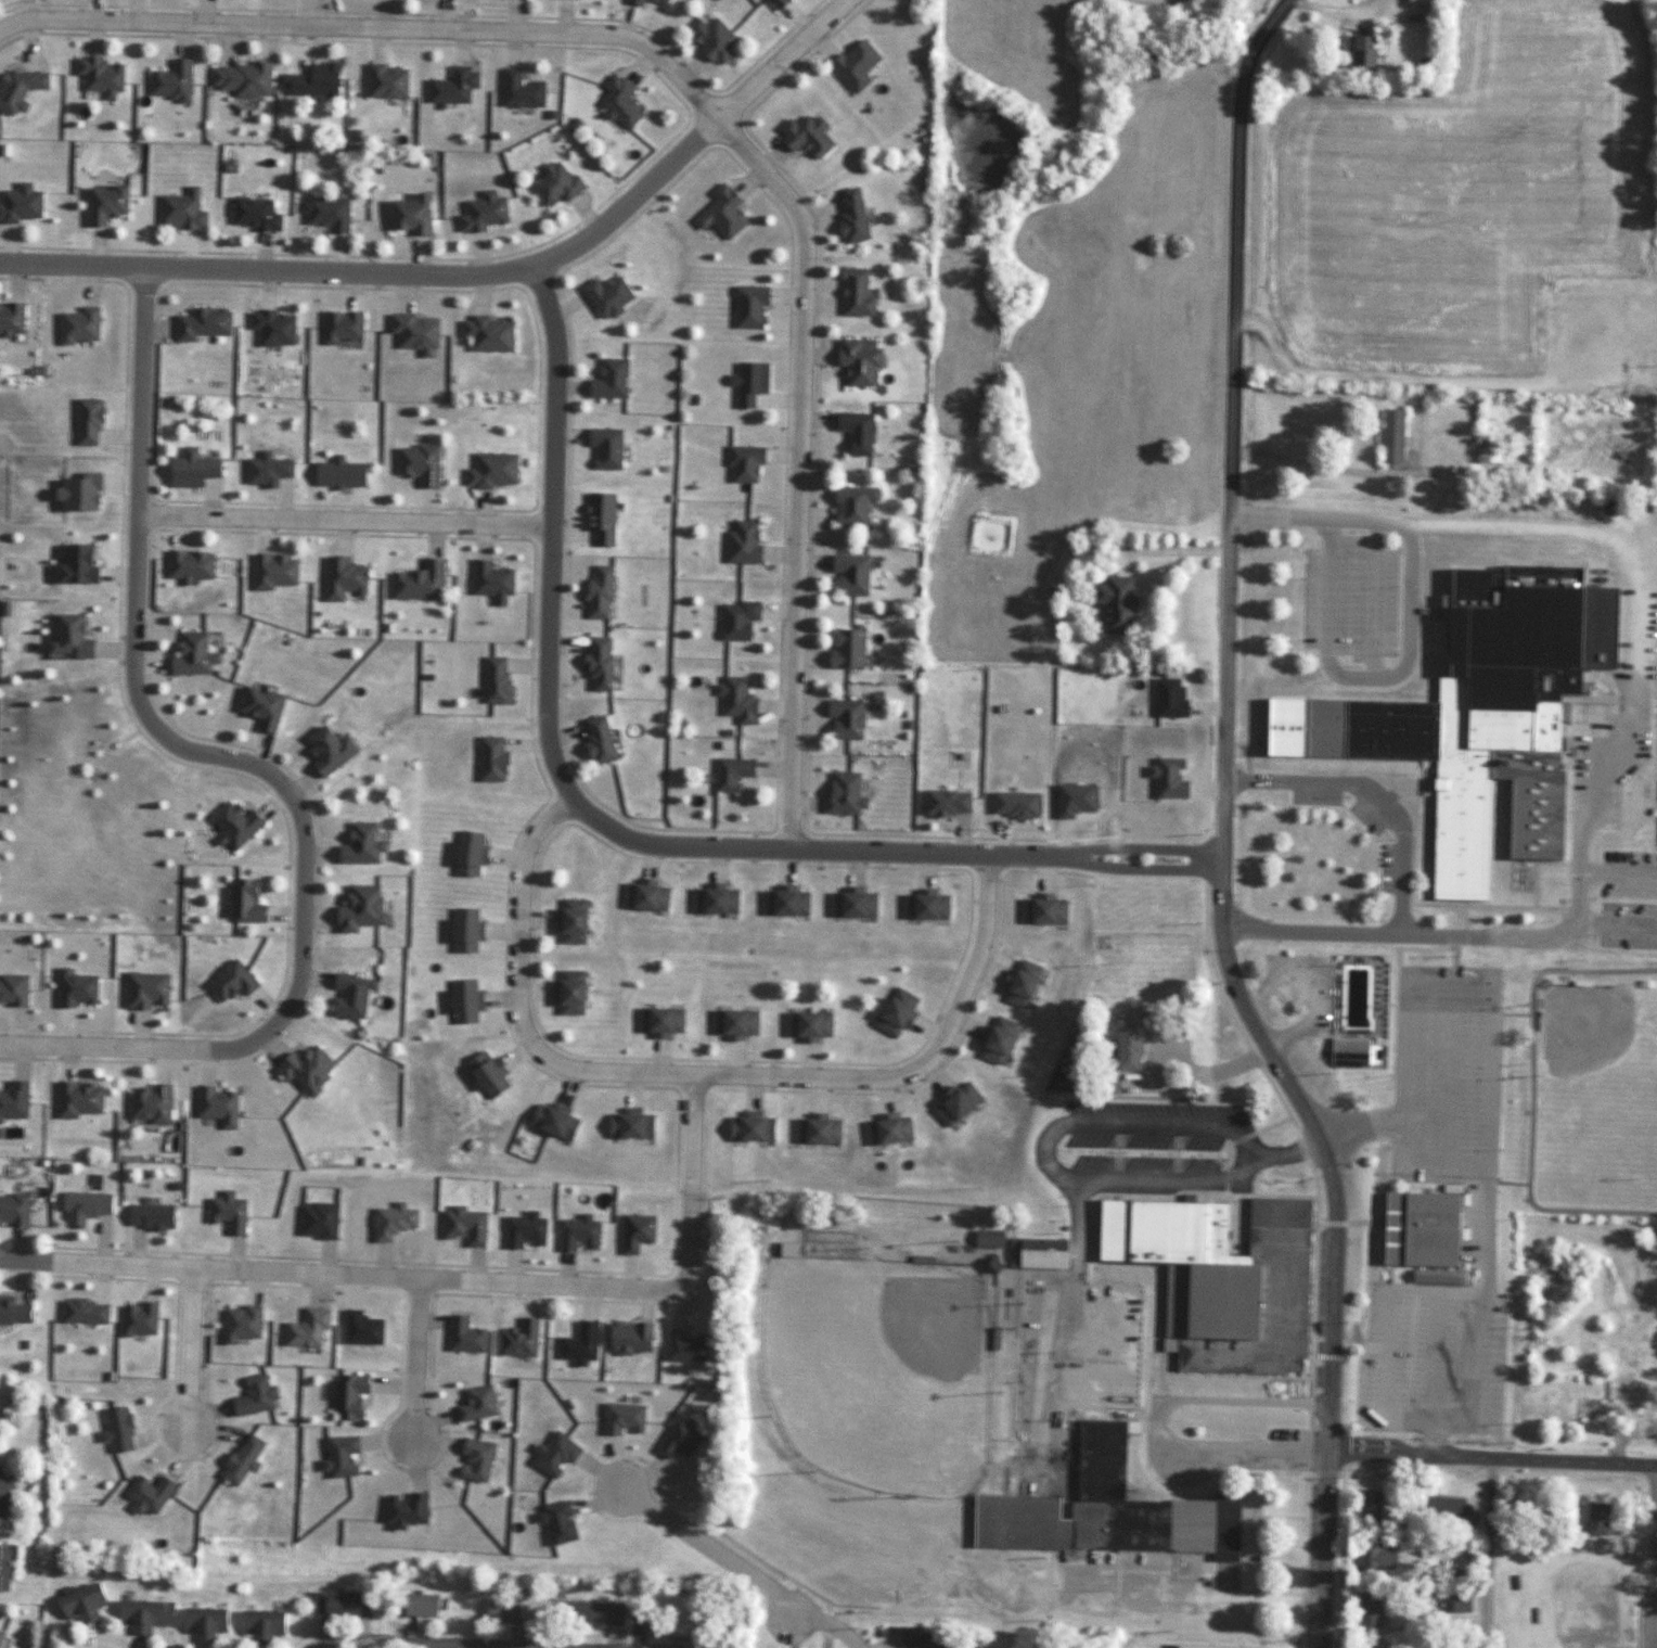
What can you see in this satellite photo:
building: (660, 1)
building: (634, 2)
building: (1420, 2)
building: (775, 3)
road: (374, 26)
road: (1249, 26)
building: (711, 39)
building: (1359, 51)
building: (853, 62)
building: (99, 76)
building: (241, 79)
building: (169, 81)
building: (313, 81)
building: (385, 81)
building: (452, 86)
building: (17, 89)
building: (519, 90)
building: (618, 102)
building: (804, 136)
road: (695, 140)
building: (552, 184)
building: (20, 204)
building: (102, 204)
building: (180, 212)
building: (480, 213)
building: (720, 213)
building: (251, 214)
building: (325, 214)
building: (407, 216)
building: (849, 216)
road: (267, 270)
building: (851, 292)
building: (605, 296)
building: (747, 306)
building: (10, 317)
building: (198, 323)
building: (76, 325)
building: (339, 325)
building: (270, 328)
building: (413, 332)
building: (486, 333)
building: (856, 358)
building: (606, 379)
building: (748, 382)
road: (1411, 382)
building: (85, 421)
building: (853, 431)
building: (1391, 435)
building: (603, 446)
building: (1483, 450)
road: (1233, 455)
building: (416, 462)
building: (742, 462)
road: (800, 467)
building: (188, 469)
building: (264, 469)
building: (489, 470)
building: (336, 473)
building: (75, 491)
building: (849, 503)
building: (598, 515)
road: (343, 521)
building: (741, 544)
building: (72, 564)
building: (188, 564)
building: (273, 571)
building: (847, 573)
building: (342, 577)
building: (489, 580)
building: (416, 582)
building: (596, 590)
building: (1114, 603)
building: (735, 618)
road: (1408, 623)
building: (66, 639)
building: (844, 647)
building: (189, 656)
building: (594, 662)
parking lot: (1620, 676)
building: (493, 679)
building: (735, 698)
road: (141, 705)
building: (258, 706)
building: (1479, 712)
building: (844, 717)
building: (594, 739)
building: (325, 750)
building: (488, 758)
building: (731, 772)
building: (843, 793)
road: (1372, 794)
road: (1602, 799)
building: (945, 802)
building: (233, 825)
road: (620, 832)
building: (357, 844)
building: (465, 853)
building: (644, 895)
parking lot: (1627, 898)
building: (714, 899)
building: (784, 900)
building: (247, 902)
building: (851, 903)
building: (923, 905)
building: (356, 907)
building: (1042, 909)
building: (569, 921)
building: (461, 930)
road: (1230, 963)
building: (229, 981)
building: (1019, 983)
building: (76, 988)
parking lot: (1305, 988)
building: (12, 989)
building: (145, 991)
building: (567, 993)
building: (348, 995)
building: (461, 1001)
building: (894, 1011)
building: (658, 1021)
building: (733, 1023)
building: (807, 1025)
park: (1587, 1025)
parking lot: (1447, 1034)
building: (996, 1039)
building: (1126, 1045)
road: (131, 1046)
building: (1350, 1050)
building: (304, 1069)
road: (706, 1073)
building: (485, 1075)
road: (1530, 1090)
building: (13, 1099)
building: (77, 1099)
building: (955, 1103)
building: (147, 1104)
building: (217, 1106)
building: (552, 1121)
building: (629, 1125)
building: (750, 1127)
building: (817, 1129)
building: (886, 1129)
parking lot: (1146, 1136)
park: (1577, 1202)
building: (82, 1206)
building: (13, 1209)
building: (227, 1212)
building: (147, 1215)
building: (1420, 1228)
building: (986, 1238)
road: (1481, 1238)
building: (1035, 1253)
road: (451, 1279)
building: (1243, 1299)
building: (14, 1311)
building: (82, 1311)
road: (1330, 1315)
building: (136, 1318)
building: (239, 1324)
building: (305, 1328)
building: (628, 1338)
building: (517, 1339)
building: (578, 1343)
road: (190, 1350)
road: (414, 1358)
park: (882, 1369)
building: (252, 1396)
road: (1156, 1429)
building: (114, 1430)
road: (1489, 1458)
building: (240, 1459)
building: (1104, 1460)
building: (146, 1495)
building: (2, 1502)
building: (1367, 1508)
building: (1444, 1510)
building: (1595, 1519)
road: (705, 1548)
road: (1487, 1553)
building: (1375, 1557)
road: (1653, 1557)
building: (3, 1567)
building: (79, 1602)
building: (333, 1602)
building: (1459, 1602)
building: (413, 1605)
building: (505, 1609)
building: (1367, 1609)
building: (591, 1613)
building: (142, 1614)
building: (679, 1615)
road: (633, 1617)
building: (202, 1622)
road: (828, 1623)
building: (259, 1625)
building: (0, 1633)
building: (920, 1639)
road: (411, 1644)

